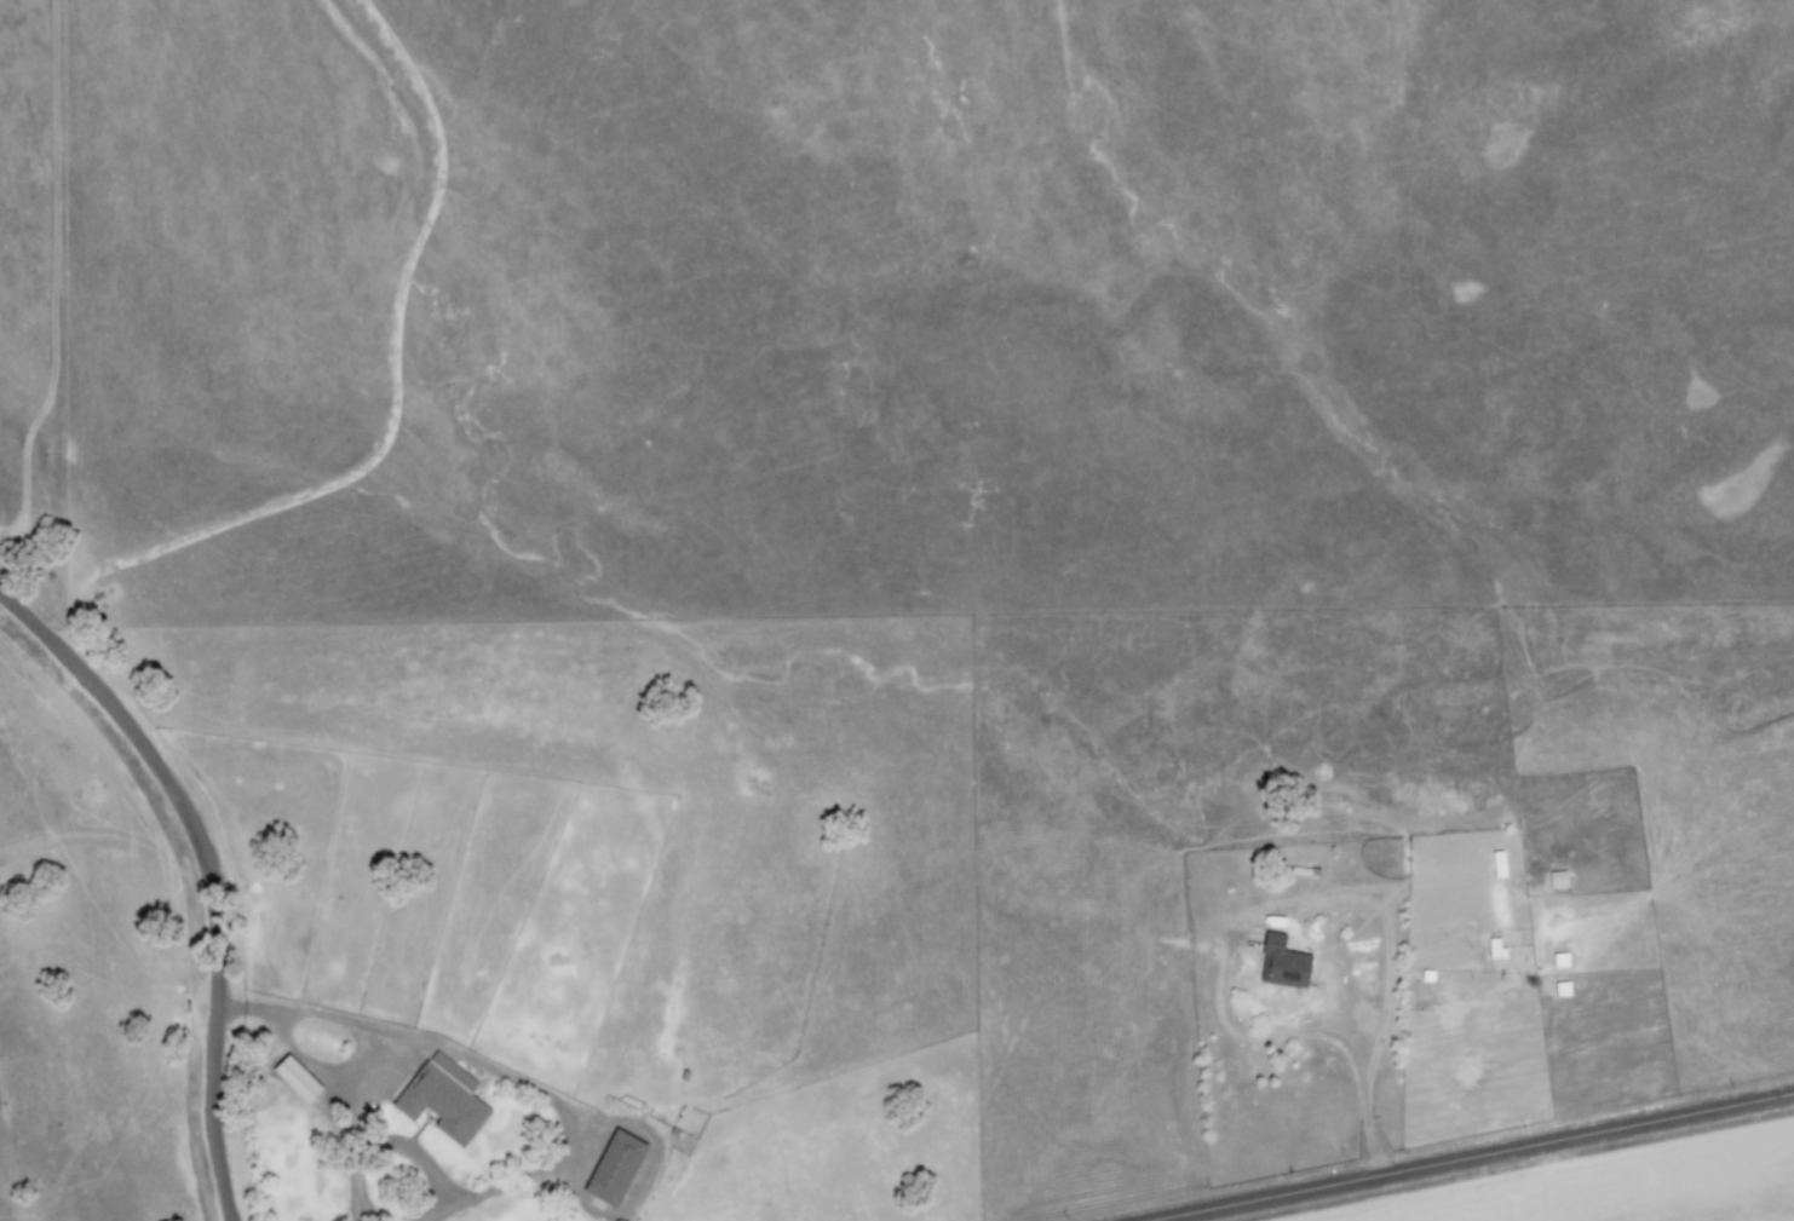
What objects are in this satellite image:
road: (74, 321)
road: (203, 872)
building: (1553, 879)
building: (1278, 962)
building: (291, 1078)
building: (439, 1098)
road: (569, 1123)
road: (1466, 1156)
building: (610, 1168)
road: (357, 1182)
road: (437, 1209)

